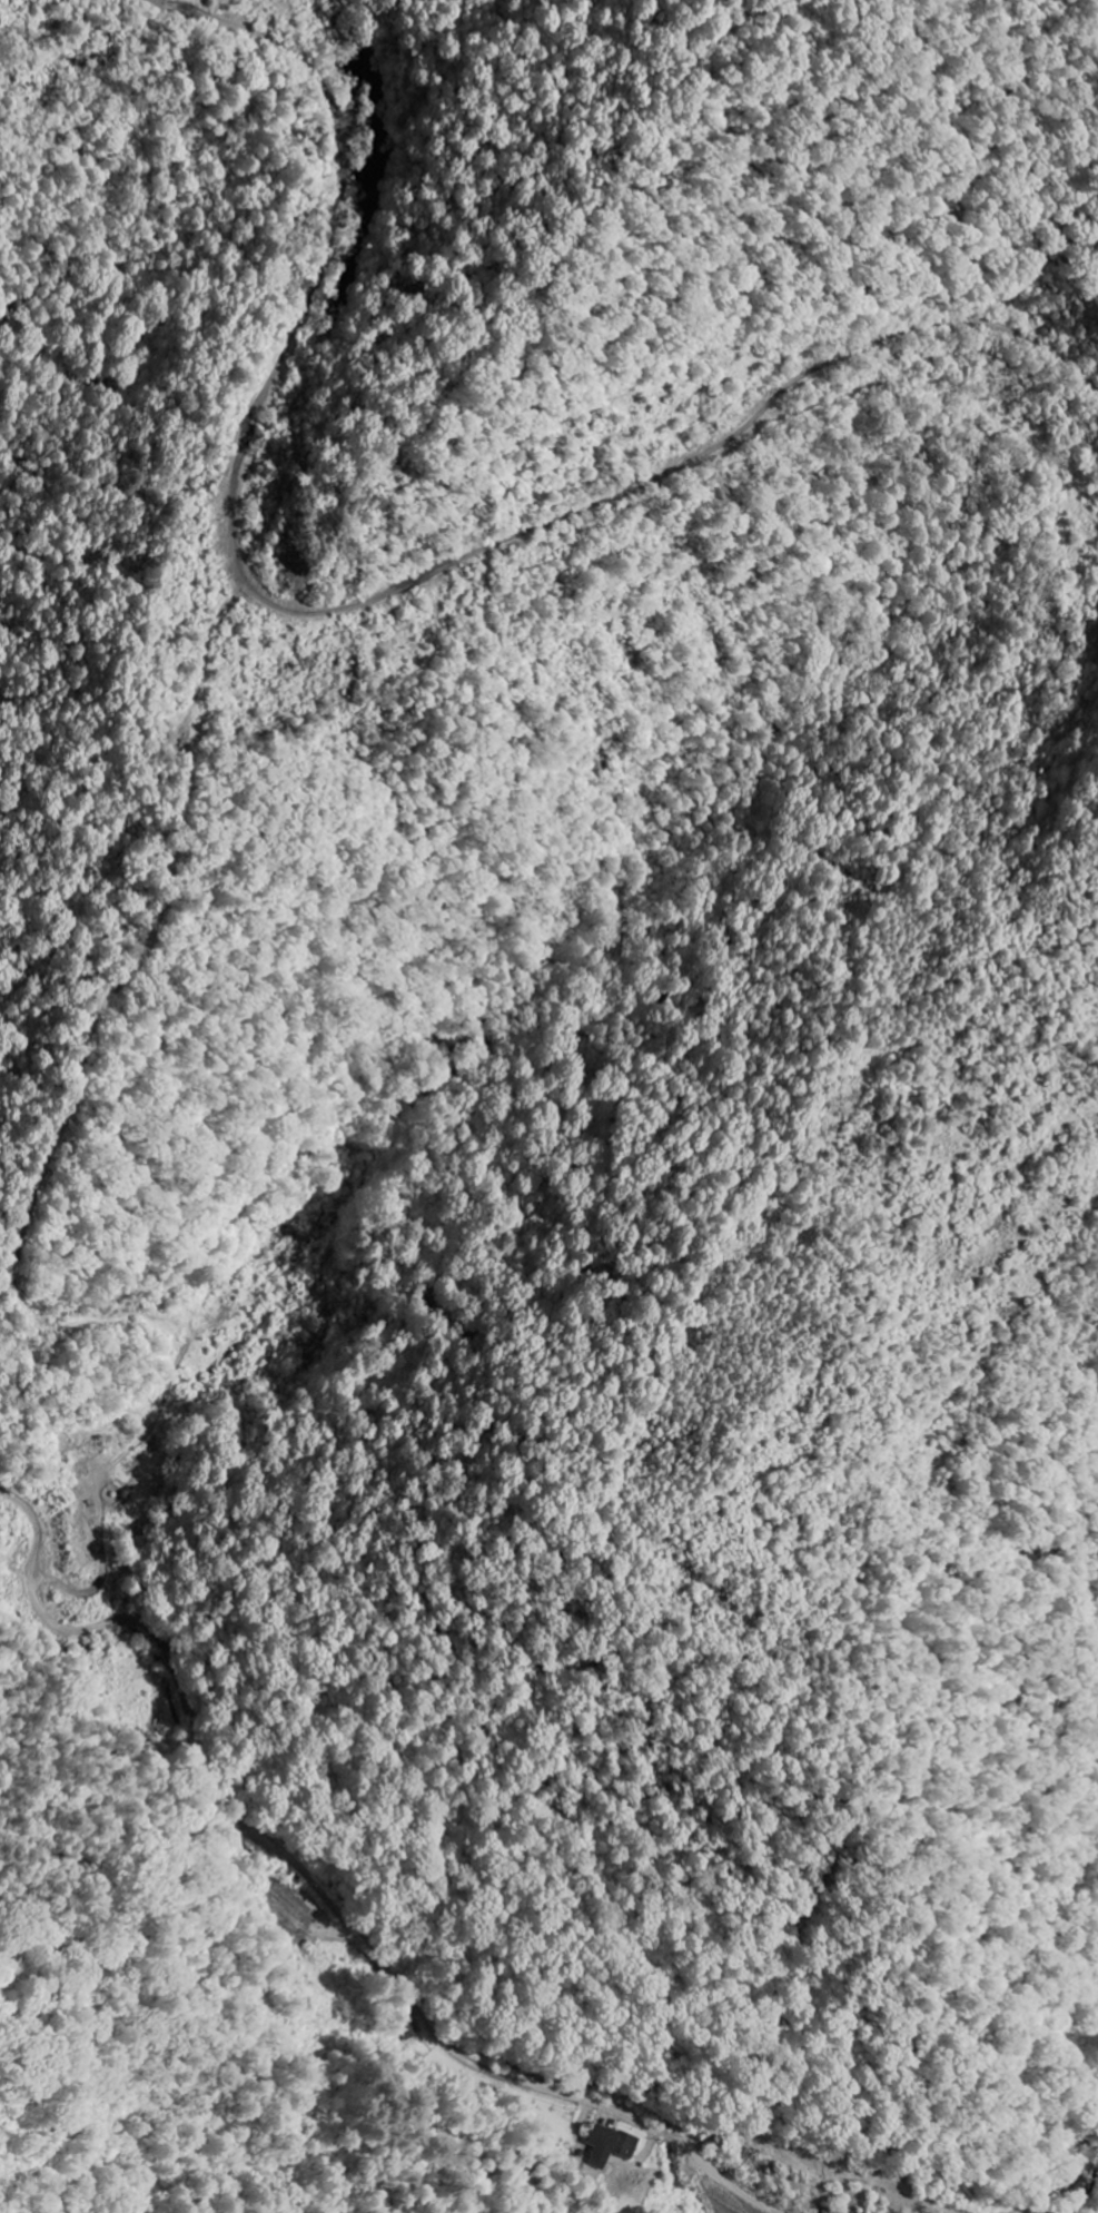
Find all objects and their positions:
road: (409, 1975)
road: (615, 2108)
building: (614, 2145)

